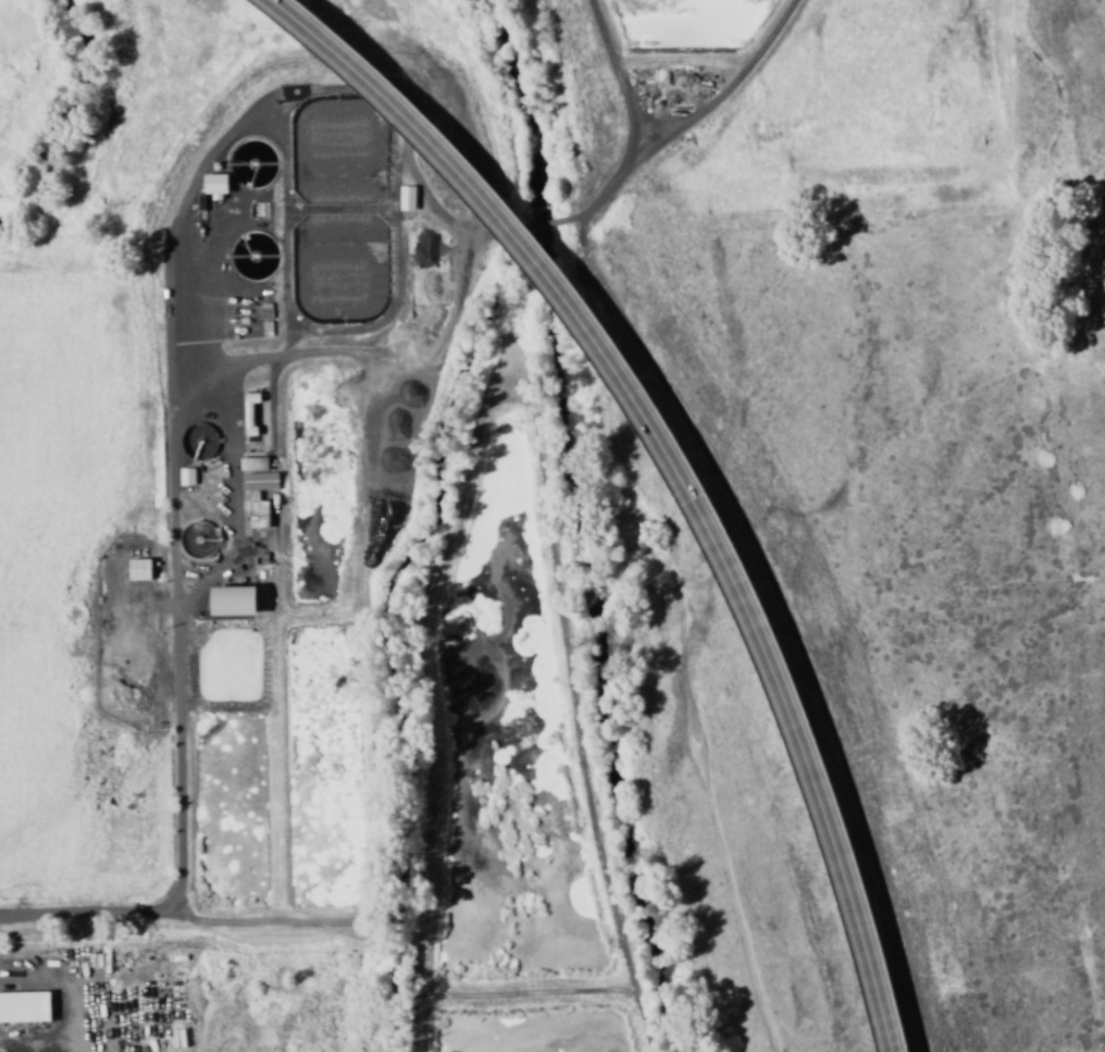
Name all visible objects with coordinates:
building: (215, 184)
building: (407, 198)
road: (506, 423)
building: (254, 463)
road: (674, 468)
building: (187, 477)
building: (253, 495)
building: (140, 569)
building: (235, 601)
road: (187, 920)
parking lot: (102, 990)
road: (524, 995)
building: (25, 1006)

